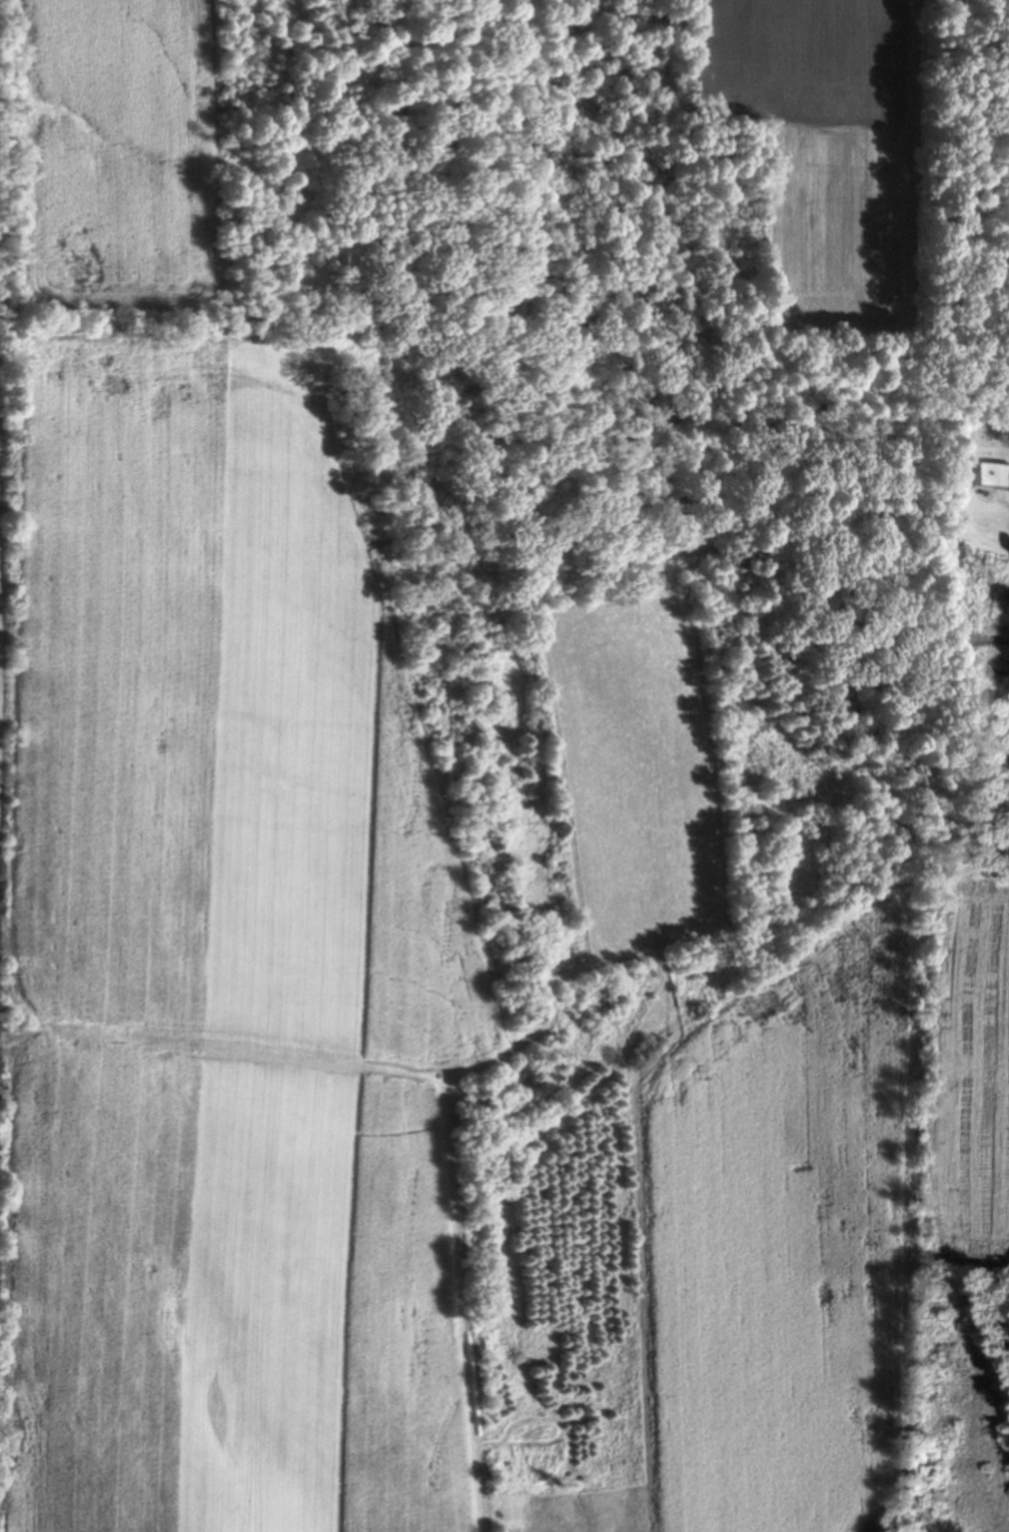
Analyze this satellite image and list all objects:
building: (991, 478)

